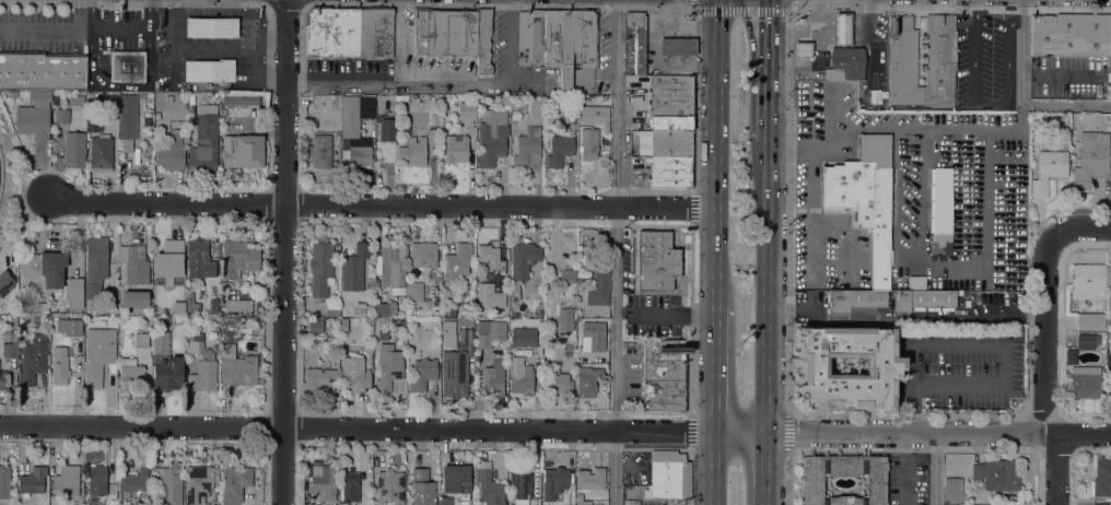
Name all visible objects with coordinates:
road: (285, 3)
road: (502, 3)
road: (132, 4)
road: (744, 7)
road: (201, 11)
road: (91, 13)
road: (149, 14)
road: (676, 19)
road: (697, 26)
building: (211, 27)
road: (46, 28)
road: (120, 28)
building: (842, 28)
building: (331, 31)
road: (261, 32)
building: (375, 32)
building: (445, 32)
road: (690, 32)
road: (273, 34)
building: (1069, 35)
building: (1110, 35)
building: (530, 37)
building: (482, 39)
building: (551, 42)
building: (634, 43)
building: (575, 44)
road: (656, 44)
road: (752, 44)
road: (768, 45)
road: (676, 46)
building: (677, 46)
road: (690, 46)
building: (803, 49)
building: (939, 50)
road: (690, 58)
building: (849, 61)
road: (692, 62)
building: (127, 66)
building: (209, 70)
building: (834, 74)
road: (438, 82)
building: (39, 84)
road: (122, 85)
road: (1021, 94)
building: (142, 95)
building: (671, 96)
building: (169, 97)
building: (77, 99)
building: (241, 99)
building: (55, 101)
road: (987, 101)
building: (574, 102)
building: (467, 109)
building: (585, 109)
building: (259, 110)
building: (156, 115)
road: (767, 115)
building: (61, 116)
building: (350, 116)
building: (572, 118)
building: (127, 120)
building: (93, 121)
building: (432, 121)
building: (671, 124)
building: (387, 129)
building: (493, 133)
building: (337, 137)
building: (605, 137)
building: (639, 138)
building: (204, 139)
building: (589, 143)
building: (670, 143)
building: (527, 145)
building: (456, 148)
building: (559, 148)
building: (74, 149)
building: (243, 151)
building: (320, 151)
building: (413, 151)
building: (171, 152)
building: (101, 153)
road: (715, 153)
building: (356, 156)
building: (1091, 157)
building: (1049, 169)
building: (670, 172)
building: (864, 197)
building: (940, 204)
road: (379, 205)
road: (1081, 230)
building: (337, 246)
road: (282, 251)
road: (615, 251)
building: (422, 254)
building: (489, 255)
building: (96, 257)
building: (199, 258)
building: (524, 258)
building: (169, 259)
building: (238, 260)
building: (656, 260)
building: (390, 263)
building: (136, 265)
building: (356, 266)
building: (455, 267)
building: (52, 268)
building: (320, 268)
building: (582, 269)
building: (566, 275)
building: (1088, 280)
building: (4, 281)
building: (223, 284)
building: (598, 285)
road: (767, 286)
building: (92, 289)
building: (398, 290)
building: (114, 292)
building: (414, 292)
building: (514, 292)
building: (559, 292)
building: (959, 292)
building: (1110, 293)
building: (74, 294)
building: (498, 300)
building: (854, 300)
building: (925, 300)
building: (959, 301)
building: (190, 302)
building: (236, 306)
building: (178, 307)
building: (384, 309)
building: (404, 310)
building: (332, 312)
building: (449, 312)
building: (39, 316)
building: (114, 318)
building: (565, 319)
building: (1090, 320)
building: (401, 321)
building: (69, 326)
building: (315, 326)
building: (448, 327)
building: (593, 329)
building: (490, 332)
building: (332, 334)
road: (1045, 334)
building: (530, 336)
building: (141, 339)
building: (1085, 341)
building: (161, 345)
building: (9, 348)
building: (214, 348)
road: (1003, 348)
building: (97, 354)
building: (33, 357)
building: (237, 359)
building: (1109, 359)
building: (60, 364)
building: (201, 364)
building: (885, 364)
building: (388, 366)
road: (715, 369)
building: (354, 372)
building: (129, 373)
building: (167, 373)
building: (454, 373)
building: (422, 374)
building: (664, 375)
building: (493, 377)
building: (3, 378)
building: (318, 379)
building: (522, 379)
building: (587, 380)
building: (558, 383)
building: (1085, 383)
building: (1110, 388)
road: (905, 413)
road: (916, 414)
road: (555, 430)
road: (713, 468)
road: (765, 469)
road: (904, 469)
road: (933, 470)
road: (938, 470)
road: (1059, 470)
building: (999, 473)
building: (667, 475)
building: (590, 478)
building: (1101, 478)
building: (68, 479)
building: (32, 480)
building: (97, 480)
building: (4, 481)
building: (135, 481)
building: (456, 481)
building: (554, 481)
building: (171, 483)
building: (199, 483)
building: (234, 483)
building: (323, 483)
building: (489, 485)
building: (519, 485)
building: (875, 485)
building: (350, 486)
building: (389, 486)
building: (421, 488)
building: (952, 489)
building: (128, 497)
building: (581, 500)
building: (445, 501)
building: (213, 502)
building: (566, 502)
building: (631, 502)
building: (1099, 504)

